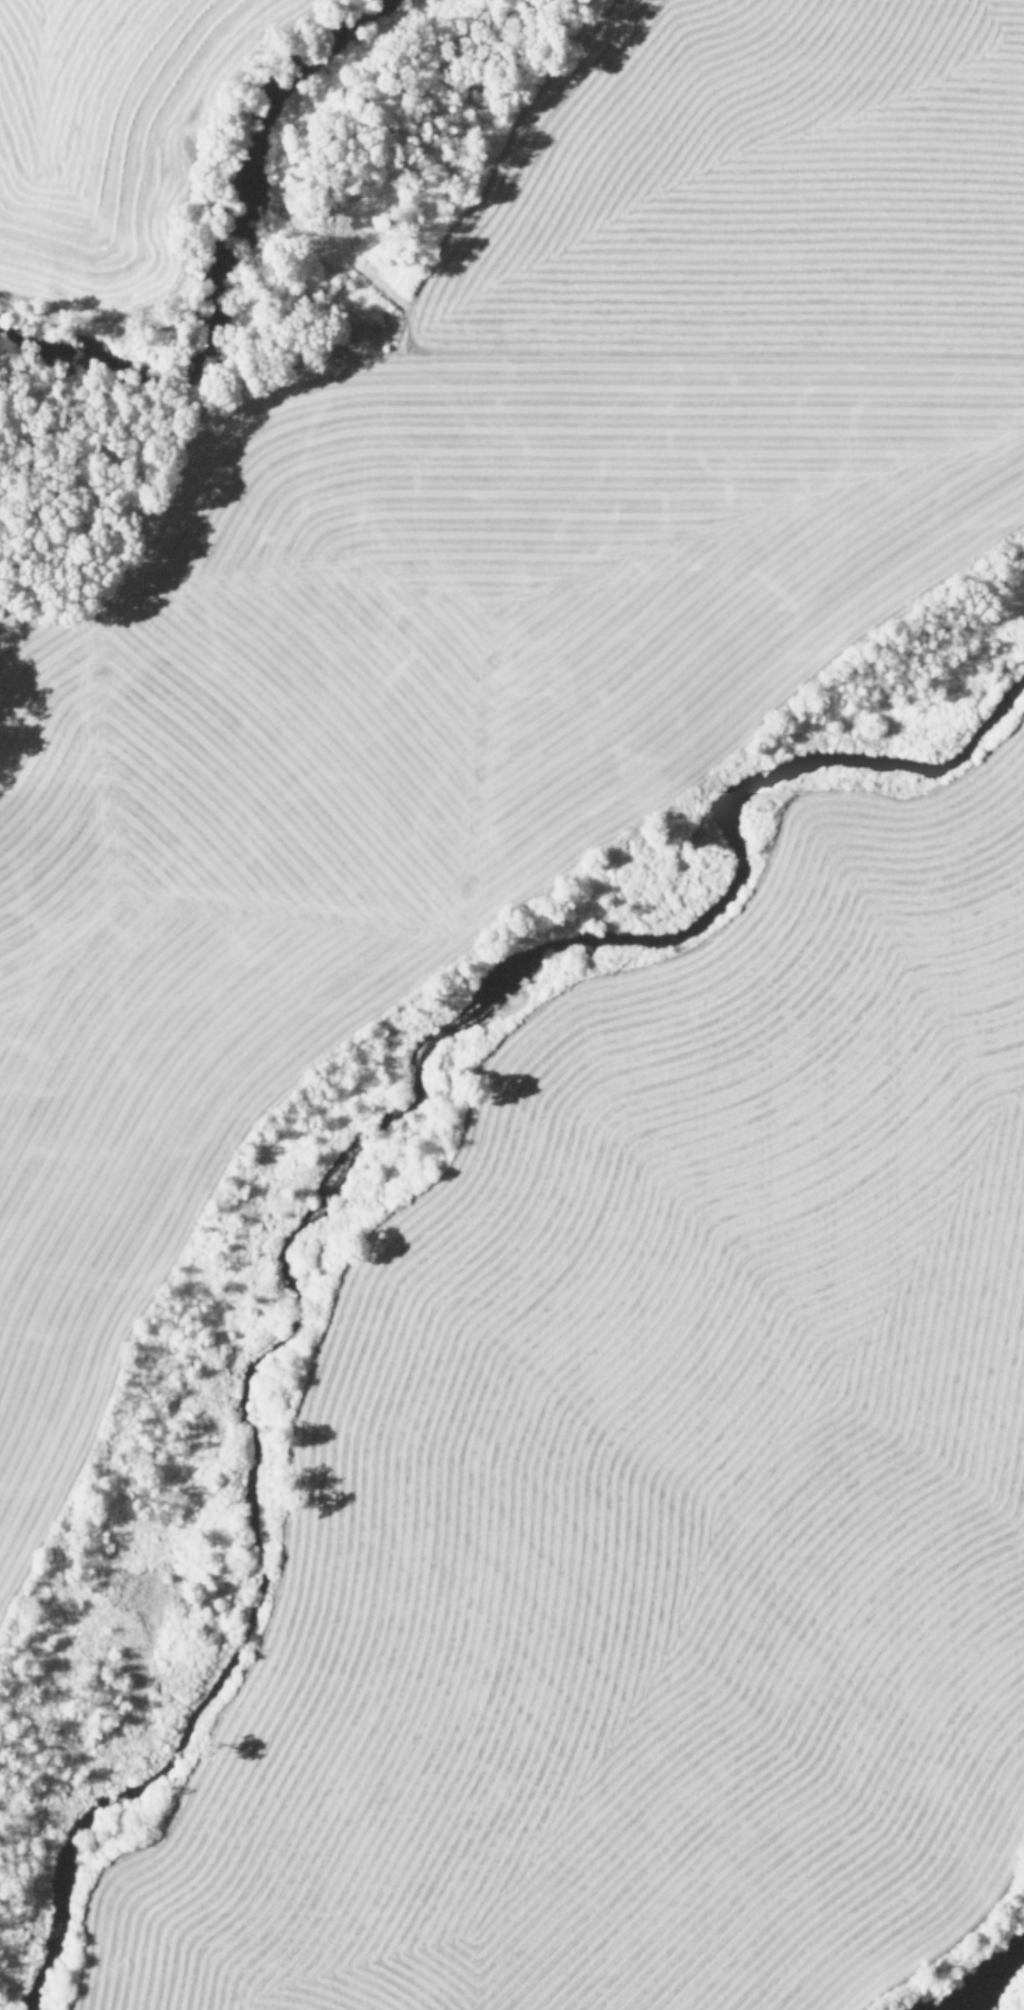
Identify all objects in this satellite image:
crop: (481, 588)
crop: (1018, 2004)

